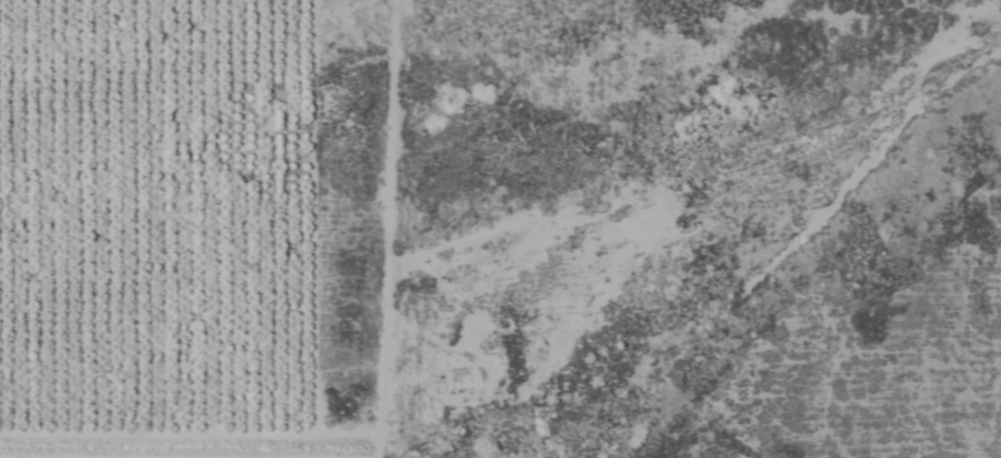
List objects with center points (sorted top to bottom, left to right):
road: (385, 64)
road: (370, 136)

